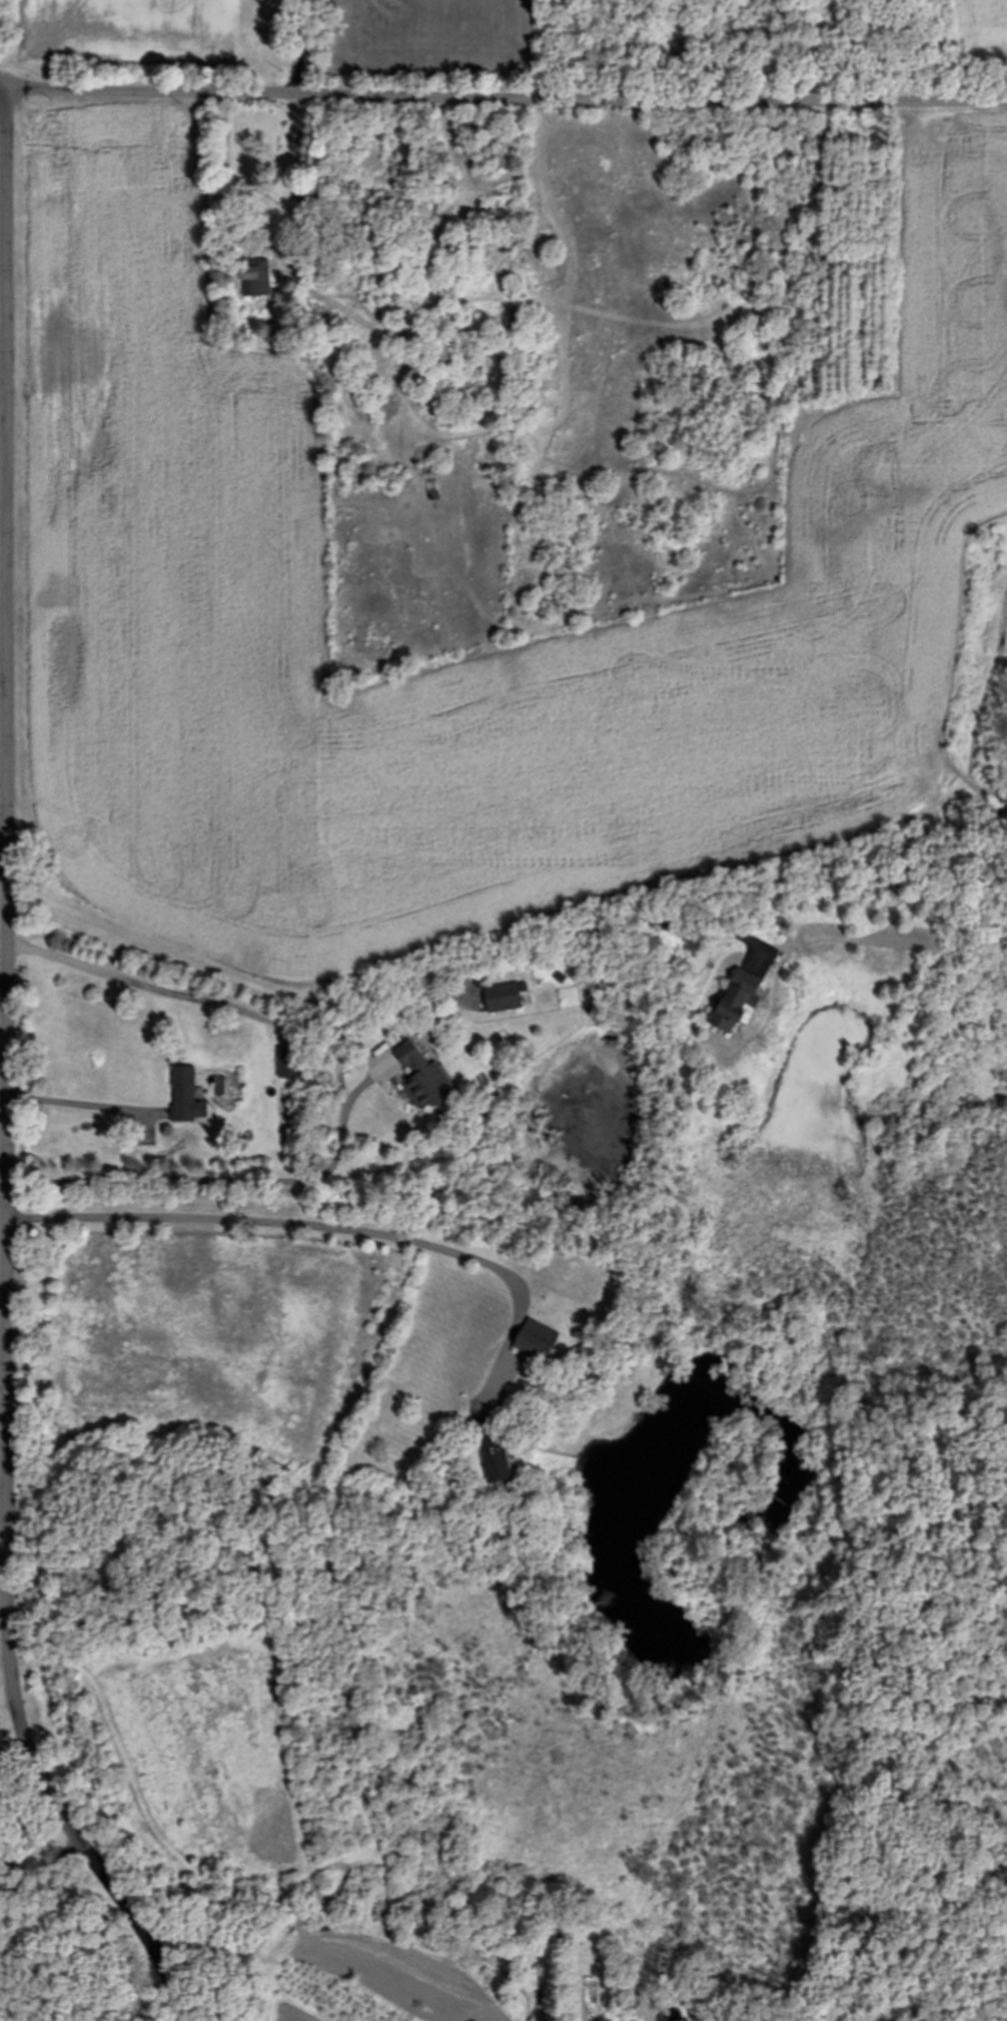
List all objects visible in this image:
road: (302, 48)
road: (3, 85)
road: (506, 103)
building: (507, 160)
road: (298, 175)
building: (258, 274)
building: (407, 306)
building: (448, 352)
road: (229, 975)
building: (507, 997)
building: (742, 999)
road: (294, 1022)
building: (291, 1062)
road: (8, 1074)
building: (428, 1079)
building: (189, 1096)
road: (83, 1103)
road: (229, 1182)
road: (335, 1228)
building: (541, 1340)
building: (499, 1459)
road: (3, 1595)
road: (7, 1691)
road: (40, 1863)

